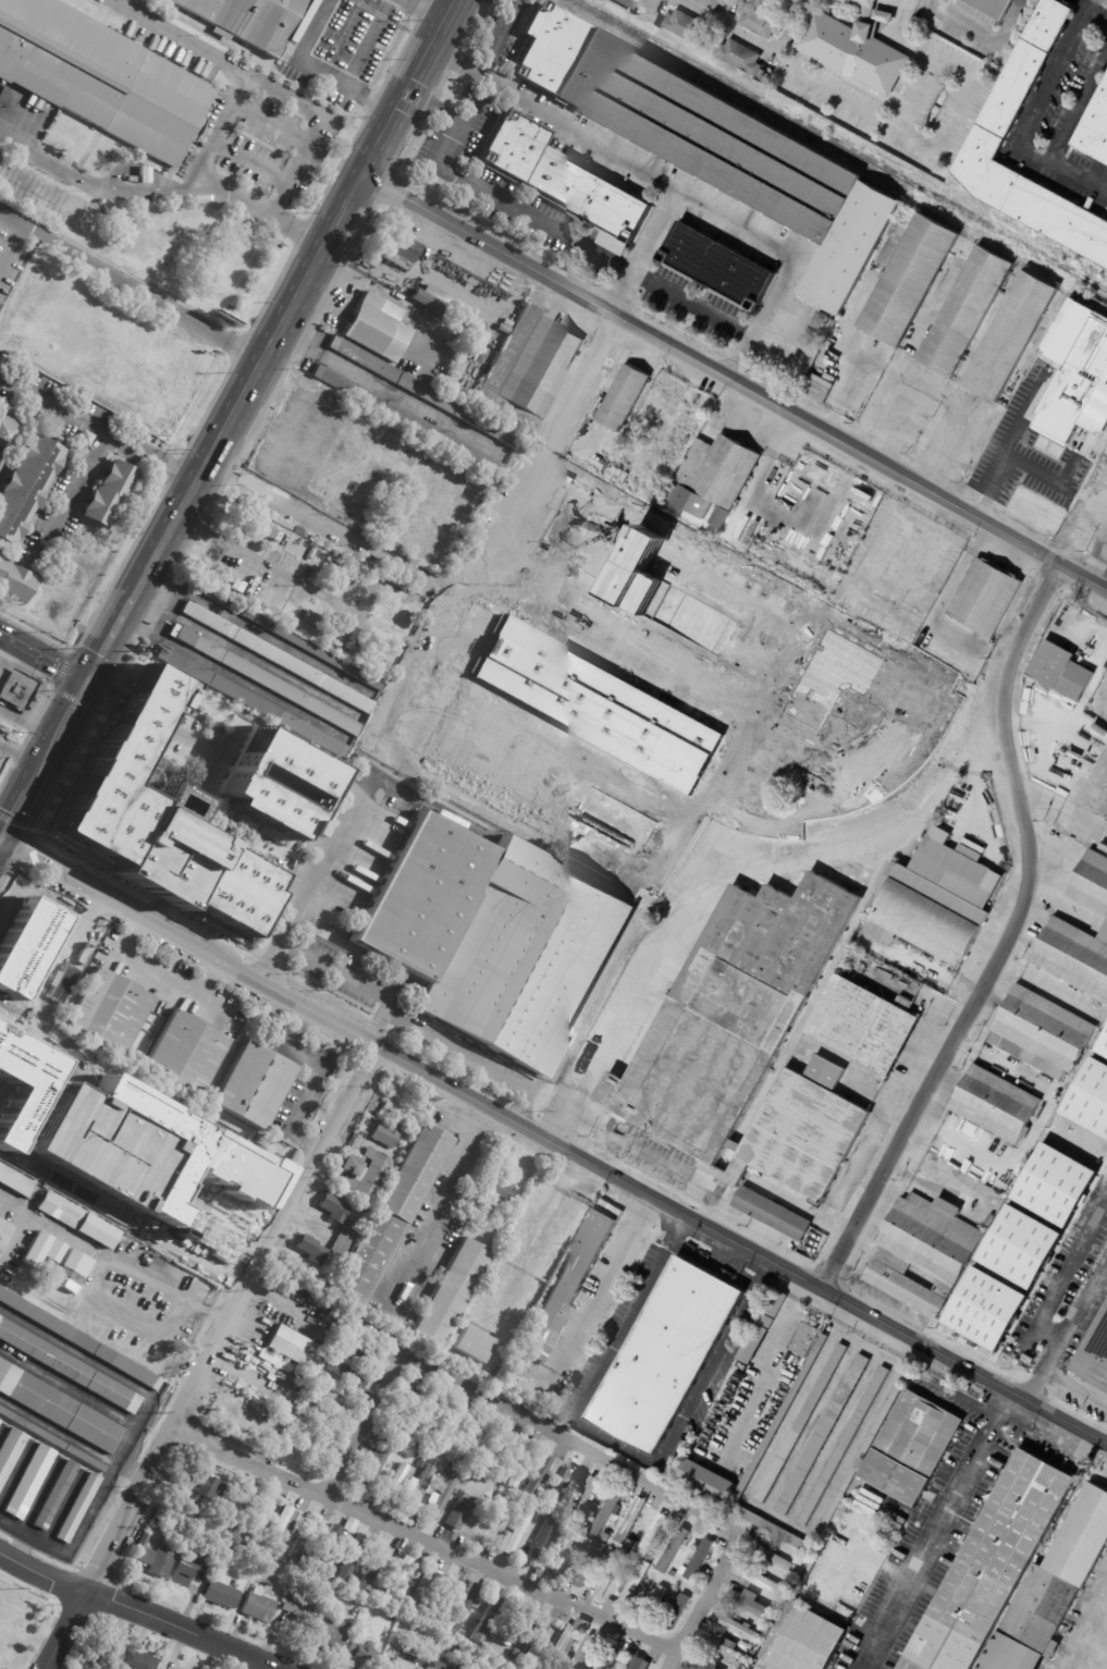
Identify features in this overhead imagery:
road: (1106, 0)
building: (630, 3)
building: (714, 3)
building: (994, 7)
road: (428, 10)
road: (448, 10)
building: (258, 20)
building: (758, 20)
road: (1095, 21)
road: (722, 24)
building: (686, 26)
road: (500, 35)
road: (368, 45)
building: (854, 46)
building: (740, 57)
road: (313, 72)
building: (762, 75)
building: (102, 76)
building: (1017, 84)
road: (914, 97)
road: (227, 119)
road: (1026, 122)
building: (62, 128)
building: (1097, 128)
road: (325, 131)
road: (947, 134)
building: (57, 137)
road: (596, 143)
building: (53, 145)
building: (712, 145)
railway: (839, 146)
building: (145, 172)
building: (561, 183)
road: (94, 184)
road: (493, 193)
building: (399, 245)
road: (13, 255)
building: (715, 269)
road: (433, 274)
building: (902, 283)
road: (132, 286)
road: (377, 289)
road: (627, 298)
building: (432, 302)
road: (693, 307)
building: (959, 312)
road: (759, 318)
building: (373, 327)
building: (1003, 339)
road: (267, 349)
building: (528, 370)
building: (1078, 375)
road: (734, 383)
road: (742, 383)
building: (819, 386)
road: (390, 391)
road: (835, 412)
building: (616, 417)
building: (408, 419)
railway: (231, 427)
road: (915, 428)
building: (10, 434)
building: (86, 437)
building: (398, 439)
road: (101, 440)
road: (150, 457)
building: (717, 469)
road: (994, 471)
building: (383, 477)
road: (1041, 477)
building: (26, 484)
building: (413, 490)
building: (109, 492)
building: (365, 492)
building: (403, 511)
building: (355, 512)
road: (337, 532)
road: (1100, 537)
road: (677, 541)
road: (1090, 559)
road: (262, 562)
building: (877, 576)
building: (14, 580)
building: (311, 585)
building: (984, 598)
road: (466, 610)
parking lot: (749, 621)
building: (290, 638)
building: (578, 647)
road: (45, 655)
building: (278, 658)
building: (1061, 671)
building: (634, 676)
traffic signals: (89, 679)
building: (265, 679)
building: (17, 690)
building: (251, 701)
building: (593, 707)
road: (66, 717)
building: (800, 744)
road: (20, 757)
building: (774, 781)
building: (960, 782)
building: (915, 796)
building: (291, 797)
road: (22, 798)
building: (1103, 806)
building: (170, 836)
traffic signals: (0, 839)
building: (1103, 847)
road: (727, 867)
building: (816, 869)
building: (1091, 882)
road: (309, 888)
road: (1018, 889)
building: (934, 897)
building: (501, 934)
building: (93, 945)
building: (73, 946)
building: (1074, 956)
road: (161, 971)
road: (213, 1003)
building: (110, 1010)
road: (377, 1023)
building: (862, 1023)
road: (417, 1026)
building: (1043, 1031)
building: (748, 1044)
building: (1103, 1046)
building: (187, 1051)
road: (315, 1078)
building: (254, 1085)
building: (1090, 1097)
building: (995, 1104)
building: (165, 1106)
building: (391, 1106)
building: (1061, 1131)
road: (551, 1142)
building: (373, 1161)
building: (15, 1182)
building: (1055, 1185)
building: (500, 1190)
road: (438, 1196)
building: (619, 1203)
building: (334, 1207)
building: (64, 1211)
building: (771, 1214)
building: (391, 1215)
building: (501, 1216)
building: (139, 1220)
building: (992, 1220)
building: (96, 1224)
building: (4, 1231)
building: (217, 1235)
building: (344, 1238)
road: (15, 1239)
building: (1020, 1247)
building: (311, 1249)
building: (924, 1253)
building: (51, 1266)
road: (130, 1266)
road: (1062, 1277)
road: (601, 1279)
building: (565, 1288)
building: (451, 1294)
building: (377, 1300)
building: (986, 1309)
road: (230, 1317)
building: (763, 1326)
road: (1068, 1327)
building: (373, 1330)
building: (807, 1339)
building: (78, 1340)
building: (475, 1343)
building: (296, 1347)
building: (341, 1353)
building: (360, 1353)
building: (1094, 1353)
building: (667, 1355)
road: (765, 1362)
building: (69, 1367)
building: (320, 1371)
building: (576, 1372)
building: (347, 1375)
road: (1075, 1386)
building: (255, 1390)
building: (312, 1397)
building: (402, 1401)
building: (337, 1402)
building: (59, 1408)
building: (422, 1413)
building: (0, 1421)
building: (322, 1421)
building: (404, 1422)
building: (445, 1422)
building: (801, 1423)
road: (361, 1427)
road: (810, 1427)
road: (59, 1431)
road: (135, 1432)
building: (824, 1434)
building: (469, 1435)
building: (271, 1436)
building: (378, 1437)
building: (52, 1439)
road: (833, 1439)
building: (538, 1440)
road: (564, 1441)
road: (614, 1441)
building: (310, 1443)
building: (341, 1443)
building: (871, 1443)
building: (419, 1444)
building: (844, 1446)
building: (911, 1448)
building: (11, 1452)
building: (563, 1452)
building: (421, 1463)
building: (372, 1464)
building: (451, 1464)
building: (520, 1465)
building: (586, 1465)
building: (445, 1472)
building: (540, 1472)
building: (401, 1474)
building: (608, 1476)
building: (709, 1481)
building: (32, 1482)
building: (602, 1484)
building: (562, 1485)
building: (208, 1487)
building: (418, 1488)
building: (57, 1495)
building: (380, 1495)
building: (443, 1497)
building: (585, 1499)
building: (78, 1508)
building: (608, 1511)
building: (459, 1512)
building: (161, 1513)
building: (259, 1513)
building: (557, 1513)
building: (586, 1514)
building: (544, 1515)
building: (630, 1523)
road: (789, 1524)
building: (281, 1525)
road: (933, 1527)
building: (562, 1530)
building: (594, 1532)
building: (517, 1533)
building: (652, 1533)
building: (605, 1536)
building: (757, 1536)
building: (305, 1537)
road: (425, 1541)
building: (540, 1541)
building: (589, 1542)
building: (330, 1544)
building: (626, 1544)
building: (672, 1549)
building: (279, 1555)
building: (558, 1555)
building: (349, 1557)
building: (155, 1558)
building: (775, 1558)
building: (637, 1560)
building: (697, 1560)
building: (587, 1564)
building: (993, 1566)
building: (190, 1567)
building: (372, 1568)
building: (271, 1569)
building: (832, 1570)
building: (611, 1572)
building: (672, 1573)
building: (541, 1576)
building: (398, 1579)
building: (764, 1582)
building: (635, 1583)
building: (680, 1586)
building: (854, 1586)
building: (422, 1587)
building: (1053, 1587)
building: (374, 1591)
building: (221, 1594)
building: (354, 1598)
building: (655, 1599)
building: (611, 1606)
building: (752, 1606)
building: (258, 1607)
building: (302, 1607)
building: (464, 1608)
building: (676, 1610)
road: (134, 1611)
building: (393, 1619)
building: (490, 1619)
road: (1080, 1623)
park: (22, 1624)
building: (579, 1627)
building: (762, 1627)
building: (656, 1628)
building: (741, 1629)
road: (63, 1630)
building: (331, 1632)
building: (538, 1634)
building: (434, 1637)
building: (803, 1640)
building: (508, 1641)
building: (562, 1642)
building: (372, 1644)
building: (727, 1648)
building: (459, 1649)
building: (754, 1650)
building: (517, 1652)
building: (106, 1653)
building: (361, 1653)
building: (586, 1653)
building: (611, 1658)
building: (139, 1660)
building: (639, 1664)
building: (405, 1665)
building: (705, 1665)
building: (442, 1666)
building: (682, 1667)
building: (165, 1668)

